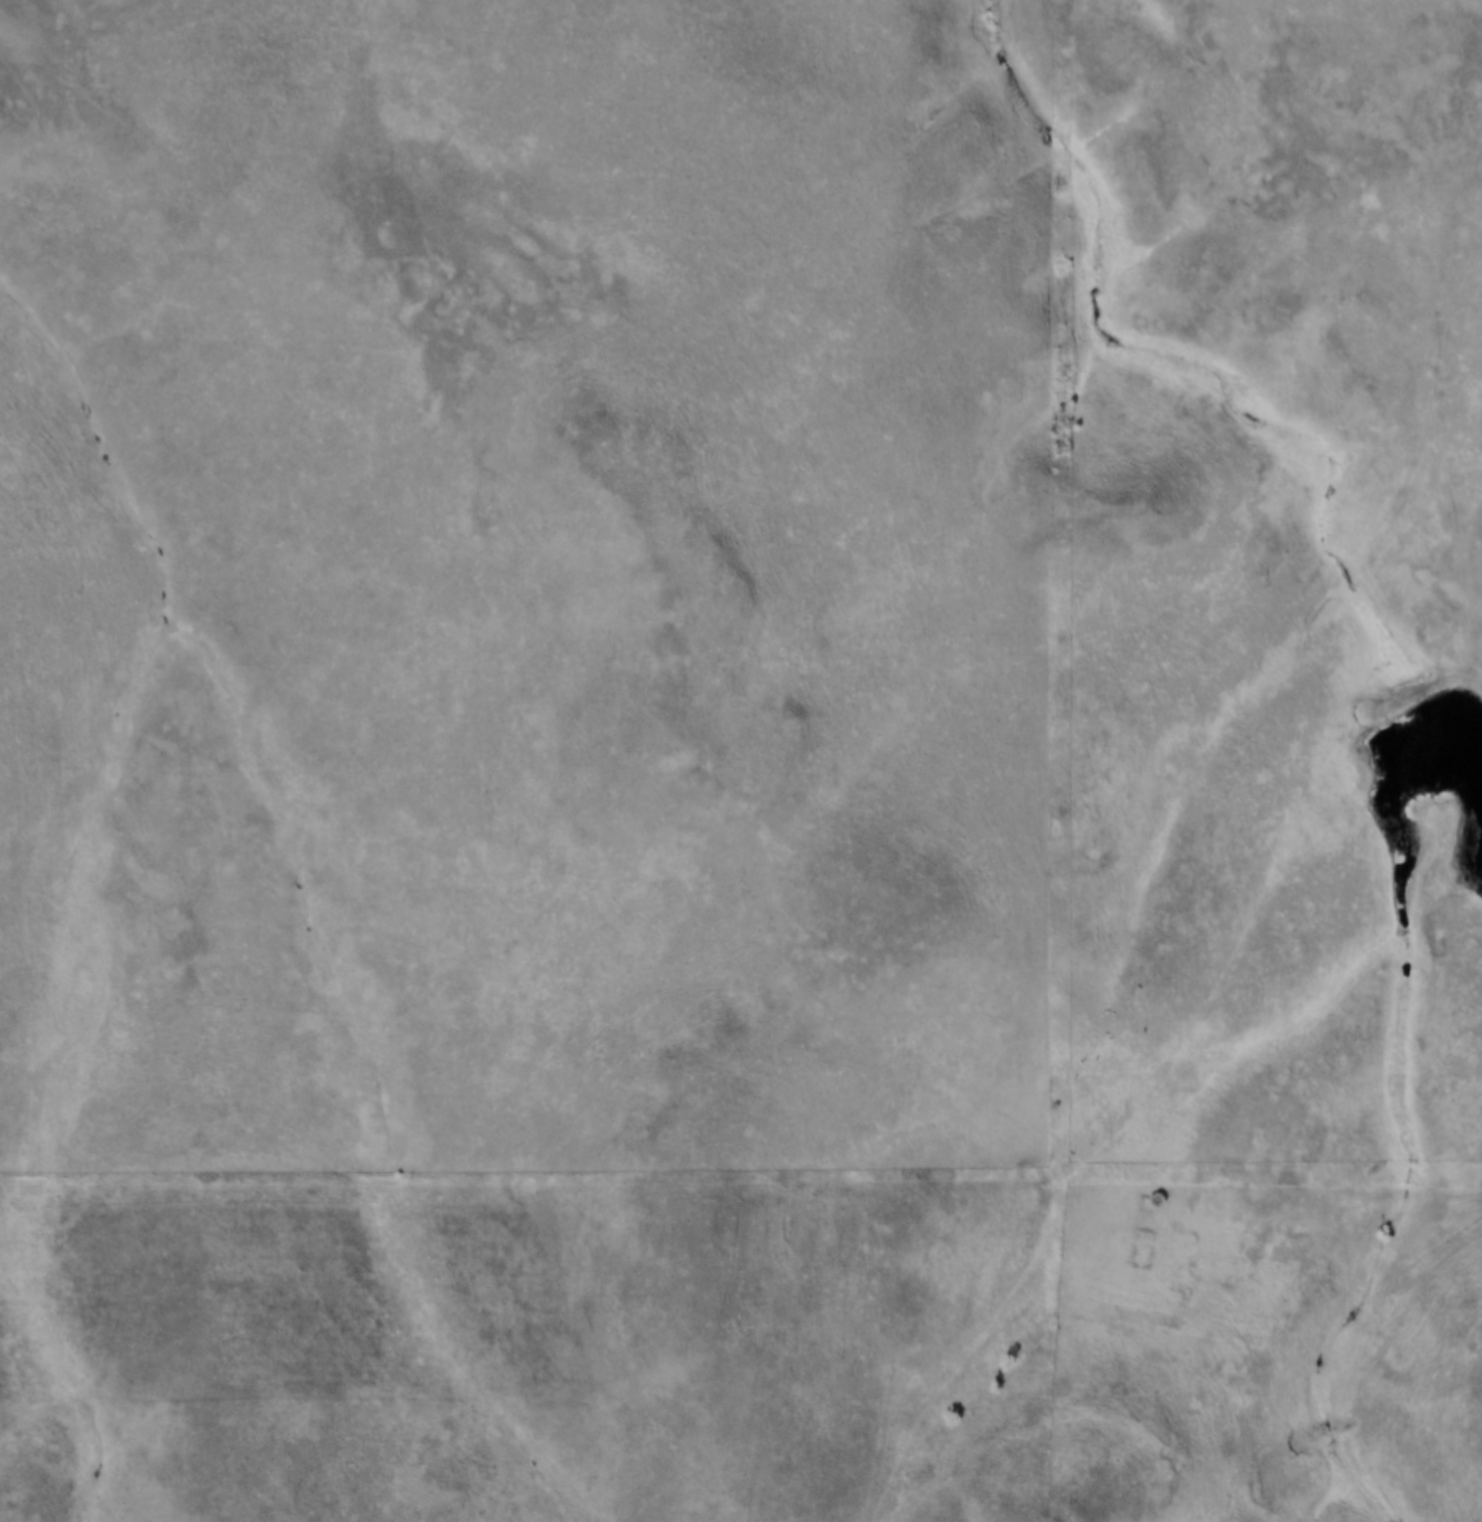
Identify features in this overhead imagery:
road: (1324, 1196)

